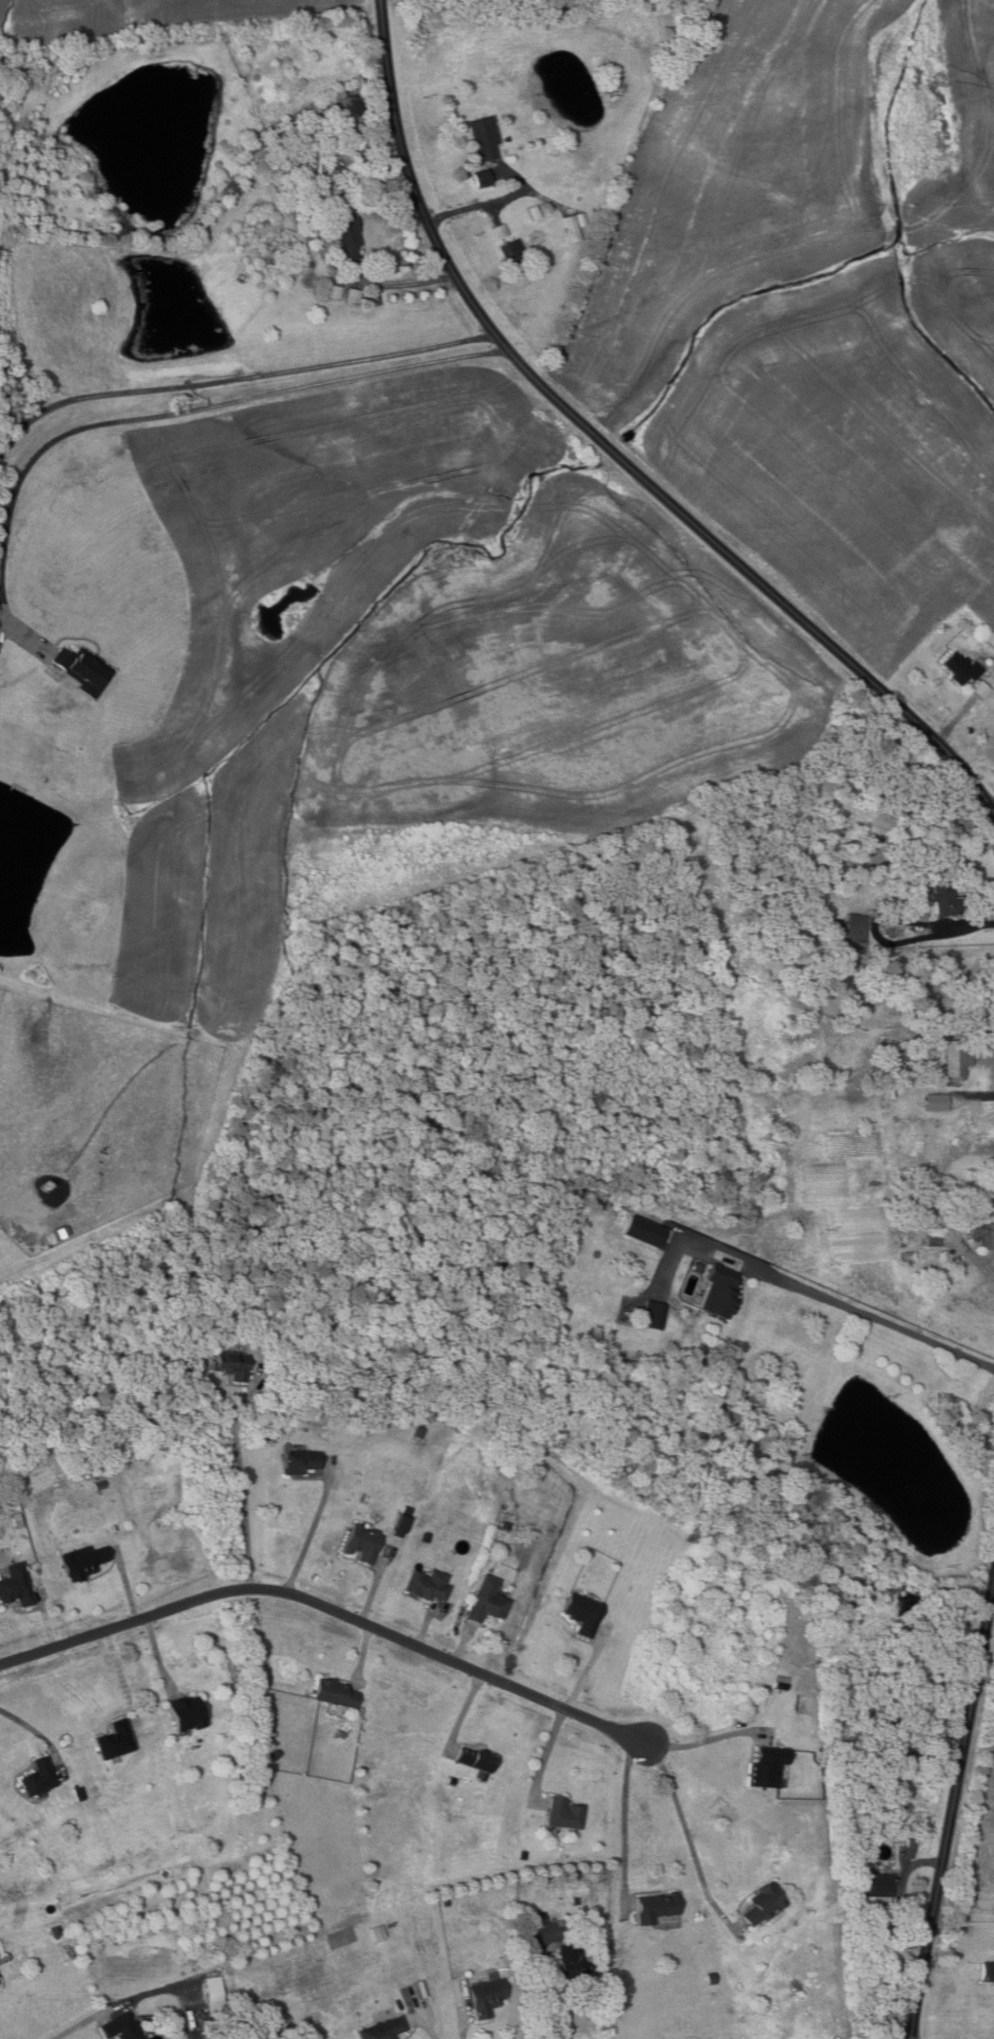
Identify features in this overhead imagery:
crop: (145, 15)
building: (355, 106)
building: (306, 135)
building: (483, 139)
building: (466, 175)
building: (481, 179)
road: (489, 203)
building: (315, 206)
building: (534, 213)
building: (574, 229)
building: (500, 232)
building: (347, 235)
building: (513, 250)
road: (402, 283)
building: (335, 292)
building: (354, 296)
crop: (817, 302)
road: (240, 379)
road: (161, 415)
road: (612, 451)
building: (960, 668)
building: (82, 670)
building: (977, 689)
road: (955, 720)
road: (993, 807)
building: (944, 898)
building: (920, 904)
road: (966, 924)
building: (855, 932)
building: (956, 1059)
building: (902, 1060)
road: (967, 1094)
building: (980, 1231)
building: (933, 1241)
building: (906, 1255)
building: (720, 1292)
building: (654, 1314)
road: (878, 1320)
building: (225, 1332)
building: (232, 1365)
building: (419, 1432)
building: (300, 1461)
building: (98, 1485)
road: (241, 1492)
building: (399, 1526)
road: (308, 1538)
building: (424, 1538)
building: (363, 1543)
building: (83, 1561)
building: (428, 1584)
road: (126, 1585)
building: (15, 1589)
road: (372, 1590)
building: (486, 1601)
road: (327, 1607)
building: (583, 1613)
road: (47, 1621)
road: (425, 1624)
crop: (993, 1637)
road: (462, 1644)
road: (363, 1652)
road: (158, 1654)
road: (586, 1670)
road: (121, 1676)
building: (335, 1693)
road: (465, 1712)
building: (187, 1714)
building: (263, 1715)
road: (33, 1728)
building: (269, 1734)
building: (116, 1740)
road: (701, 1741)
road: (548, 1753)
building: (274, 1755)
building: (475, 1759)
building: (768, 1767)
building: (40, 1776)
building: (893, 1781)
building: (78, 1793)
road: (952, 1810)
building: (564, 1813)
road: (684, 1830)
building: (910, 1845)
building: (877, 1884)
road: (903, 1886)
road: (624, 1889)
building: (581, 1900)
building: (445, 1902)
building: (764, 1904)
building: (656, 1906)
building: (529, 1920)
building: (55, 1931)
building: (378, 1932)
building: (570, 1959)
building: (987, 1973)
building: (710, 1978)
building: (214, 1993)
road: (541, 1993)
road: (143, 1994)
building: (487, 1996)
building: (280, 2021)
building: (121, 2027)
building: (384, 2029)
road: (463, 2031)
road: (432, 2033)

